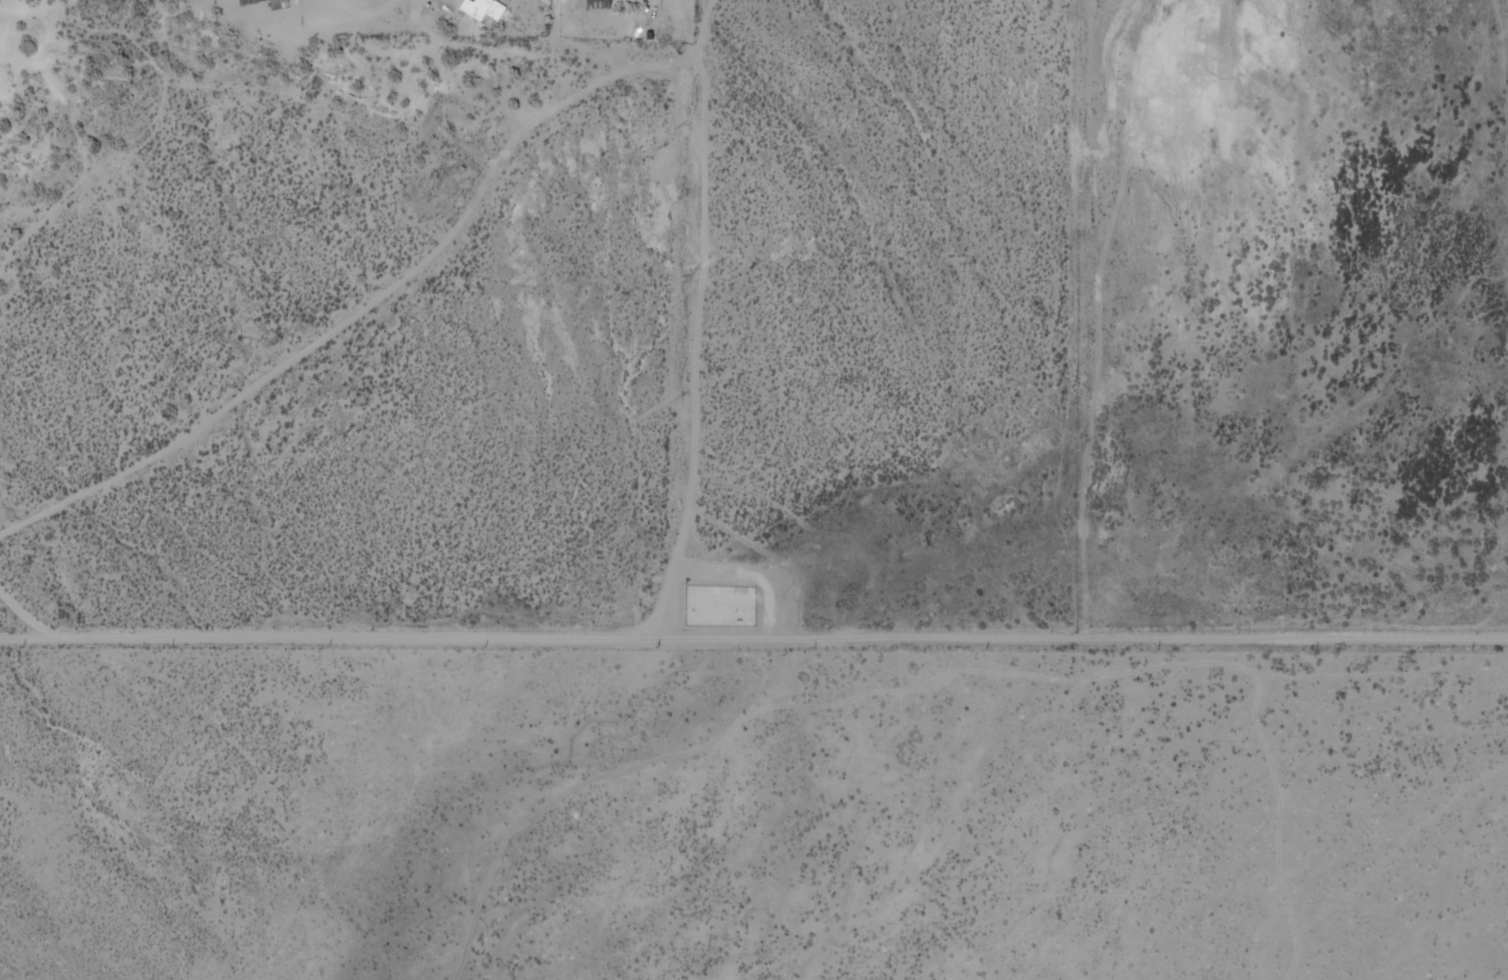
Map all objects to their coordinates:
building: (245, 0)
building: (599, 3)
building: (484, 8)
road: (697, 31)
road: (573, 51)
road: (371, 319)
road: (706, 352)
road: (753, 636)

